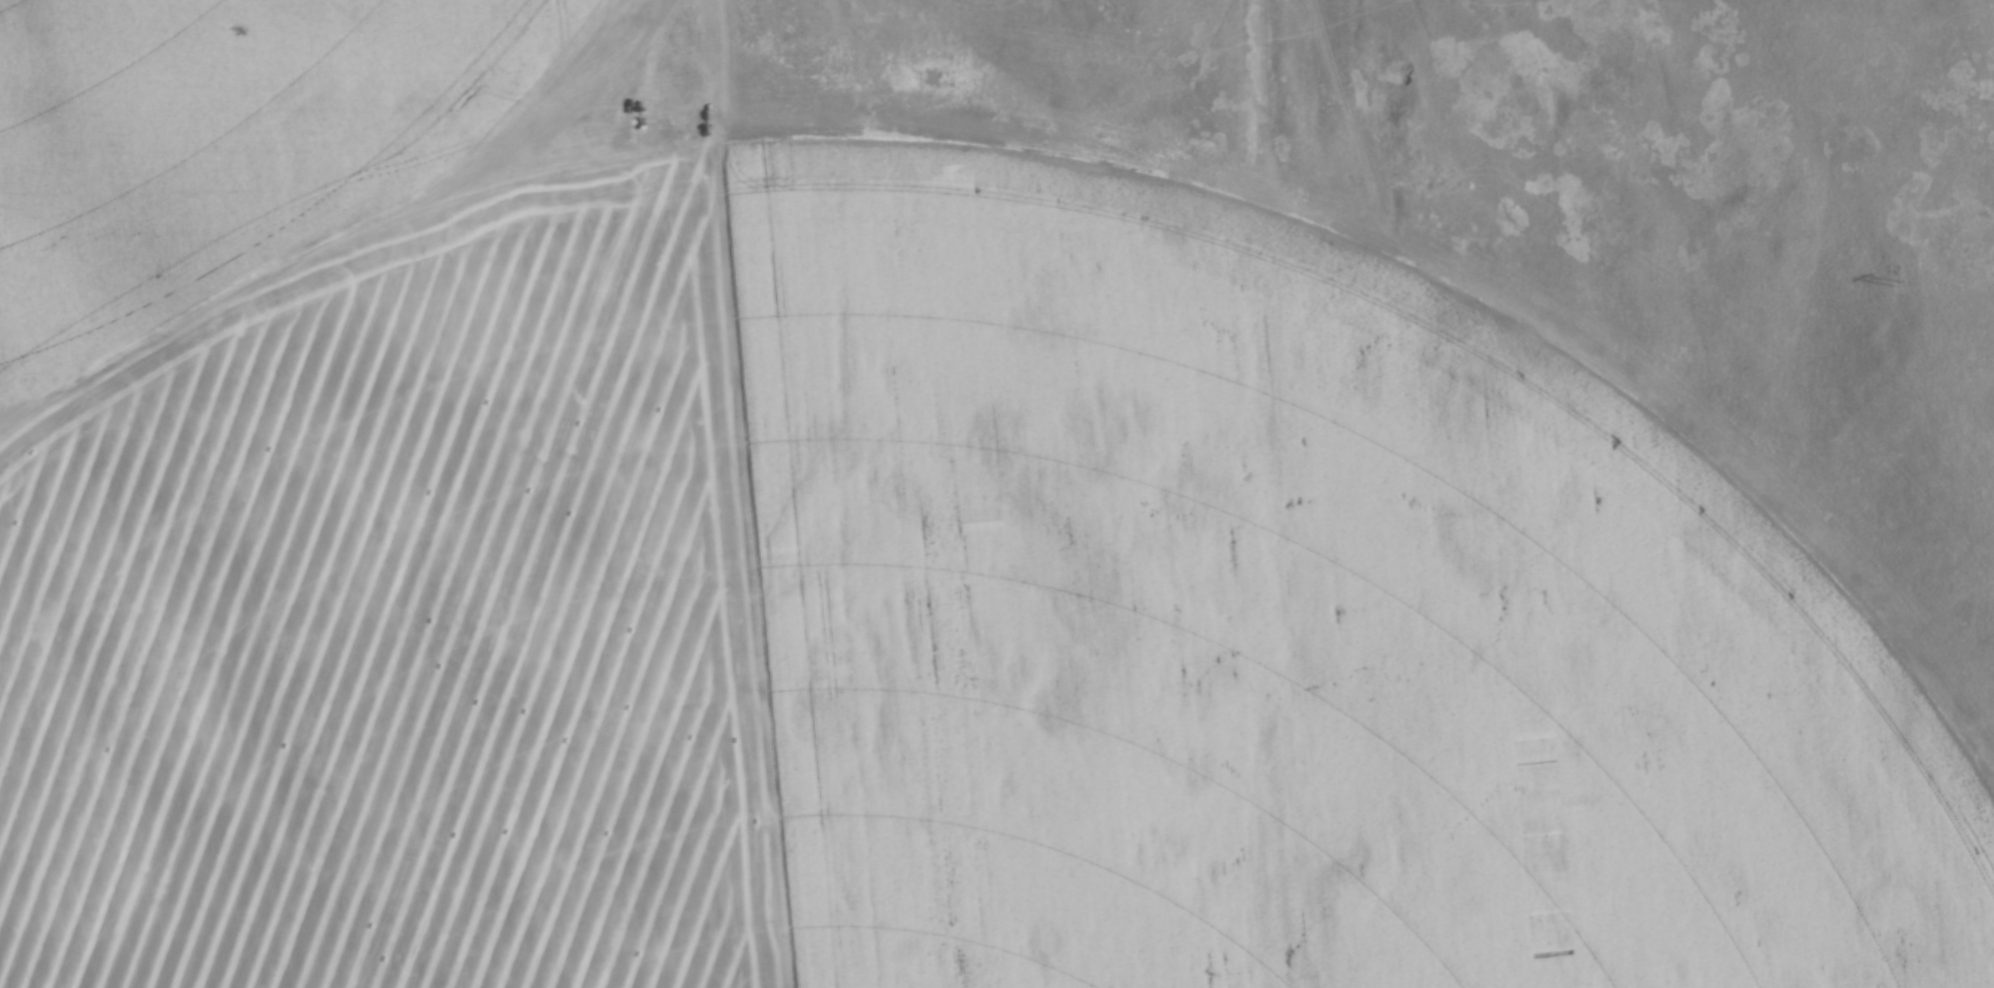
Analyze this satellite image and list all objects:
power tower: (1899, 283)
crop: (849, 579)

